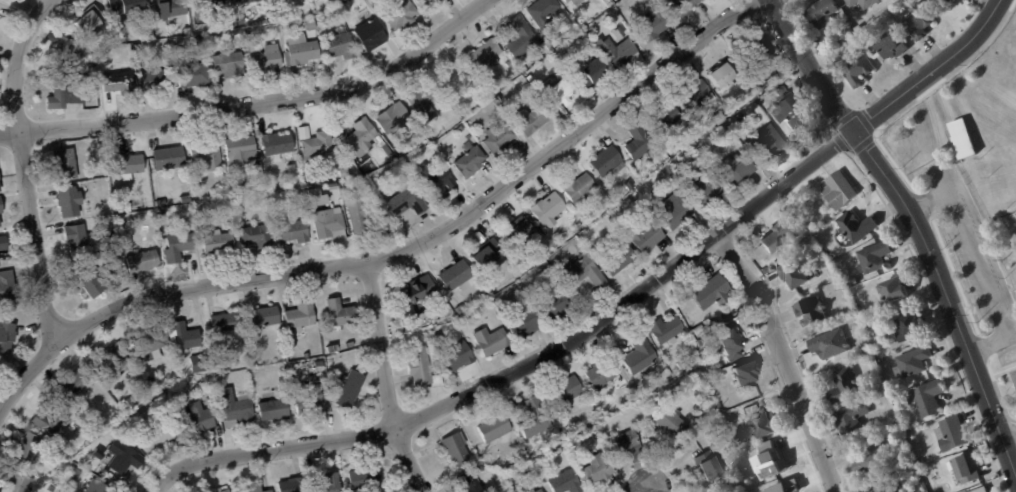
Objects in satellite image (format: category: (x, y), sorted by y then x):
building: (570, 0)
building: (952, 0)
building: (245, 1)
building: (577, 1)
building: (426, 3)
building: (861, 4)
building: (127, 6)
building: (210, 7)
building: (685, 7)
building: (173, 8)
building: (546, 12)
building: (399, 13)
building: (821, 15)
building: (91, 20)
building: (323, 20)
building: (241, 21)
building: (916, 24)
building: (312, 25)
building: (599, 26)
building: (655, 26)
building: (189, 31)
building: (370, 33)
building: (845, 34)
building: (602, 37)
building: (524, 38)
building: (339, 44)
building: (140, 48)
building: (892, 48)
building: (761, 49)
building: (303, 50)
building: (68, 53)
building: (619, 53)
building: (486, 56)
building: (576, 57)
building: (269, 60)
building: (231, 64)
road: (812, 66)
building: (93, 68)
building: (115, 68)
building: (857, 71)
road: (931, 71)
building: (593, 73)
building: (197, 75)
building: (724, 75)
building: (456, 78)
building: (531, 78)
building: (94, 79)
building: (151, 81)
building: (86, 82)
building: (120, 83)
building: (758, 88)
building: (780, 91)
building: (560, 92)
building: (64, 94)
building: (699, 95)
building: (425, 103)
building: (757, 103)
road: (257, 105)
building: (557, 113)
building: (792, 113)
building: (740, 117)
building: (394, 118)
building: (722, 118)
building: (668, 119)
building: (533, 122)
building: (463, 129)
building: (306, 133)
building: (365, 136)
building: (471, 137)
building: (962, 138)
building: (501, 139)
building: (383, 143)
building: (770, 143)
building: (278, 144)
building: (643, 144)
building: (319, 146)
building: (242, 151)
building: (390, 151)
building: (208, 154)
building: (403, 154)
building: (170, 161)
building: (471, 161)
building: (609, 162)
building: (67, 163)
building: (129, 164)
road: (26, 169)
building: (739, 170)
building: (347, 173)
building: (384, 174)
building: (440, 183)
building: (1, 184)
building: (336, 186)
building: (631, 186)
building: (247, 188)
building: (580, 188)
building: (266, 189)
building: (234, 191)
building: (839, 191)
building: (708, 192)
building: (316, 193)
building: (122, 194)
building: (637, 195)
building: (404, 198)
building: (190, 201)
building: (71, 202)
building: (1, 206)
building: (123, 208)
building: (549, 209)
building: (225, 211)
building: (678, 213)
building: (364, 215)
building: (143, 216)
building: (329, 223)
building: (0, 224)
road: (911, 224)
building: (581, 226)
building: (856, 227)
building: (811, 229)
building: (295, 231)
building: (520, 231)
building: (778, 233)
building: (259, 237)
building: (648, 238)
building: (78, 240)
building: (217, 242)
building: (4, 243)
building: (180, 247)
road: (396, 252)
building: (487, 256)
building: (873, 258)
parking lot: (976, 258)
building: (620, 260)
building: (145, 262)
building: (532, 265)
road: (979, 265)
building: (1013, 265)
building: (0, 266)
building: (764, 270)
building: (549, 272)
building: (585, 273)
building: (792, 273)
building: (456, 275)
building: (852, 282)
building: (89, 284)
building: (8, 288)
building: (491, 289)
building: (893, 290)
building: (418, 291)
building: (713, 294)
road: (633, 299)
building: (556, 306)
building: (461, 310)
building: (810, 312)
building: (341, 313)
building: (302, 317)
building: (863, 318)
building: (263, 319)
building: (525, 321)
building: (228, 323)
building: (905, 325)
building: (869, 326)
building: (666, 329)
building: (699, 330)
building: (184, 336)
building: (7, 337)
building: (711, 337)
building: (426, 338)
building: (439, 338)
building: (492, 342)
building: (830, 345)
building: (150, 346)
building: (729, 346)
building: (866, 349)
building: (874, 354)
building: (307, 355)
building: (642, 355)
building: (458, 356)
building: (113, 361)
road: (780, 361)
building: (911, 363)
building: (202, 364)
building: (684, 365)
building: (321, 367)
building: (423, 368)
building: (745, 373)
building: (603, 374)
building: (171, 377)
building: (151, 381)
road: (385, 381)
building: (75, 385)
building: (200, 385)
building: (845, 386)
building: (350, 388)
building: (681, 389)
building: (156, 391)
building: (646, 392)
building: (258, 393)
building: (567, 394)
building: (926, 398)
road: (984, 400)
building: (130, 404)
building: (311, 404)
building: (241, 411)
building: (275, 411)
building: (49, 420)
building: (535, 420)
building: (850, 421)
building: (200, 423)
building: (674, 425)
building: (769, 426)
building: (904, 428)
building: (495, 429)
road: (1006, 432)
building: (950, 434)
building: (891, 435)
building: (125, 436)
building: (159, 438)
building: (627, 446)
building: (458, 448)
road: (265, 449)
building: (29, 450)
building: (560, 451)
building: (64, 456)
building: (123, 458)
building: (869, 458)
building: (769, 461)
building: (710, 465)
building: (966, 468)
building: (911, 469)
building: (599, 470)
building: (941, 470)
building: (76, 473)
building: (57, 478)
building: (366, 478)
building: (17, 481)
building: (566, 483)
building: (331, 484)
building: (472, 484)
building: (884, 484)
building: (295, 486)
building: (98, 487)
building: (784, 487)
building: (253, 488)
building: (53, 489)
road: (639, 489)
building: (223, 490)
building: (979, 490)
building: (228, 491)
building: (270, 491)
building: (541, 491)

